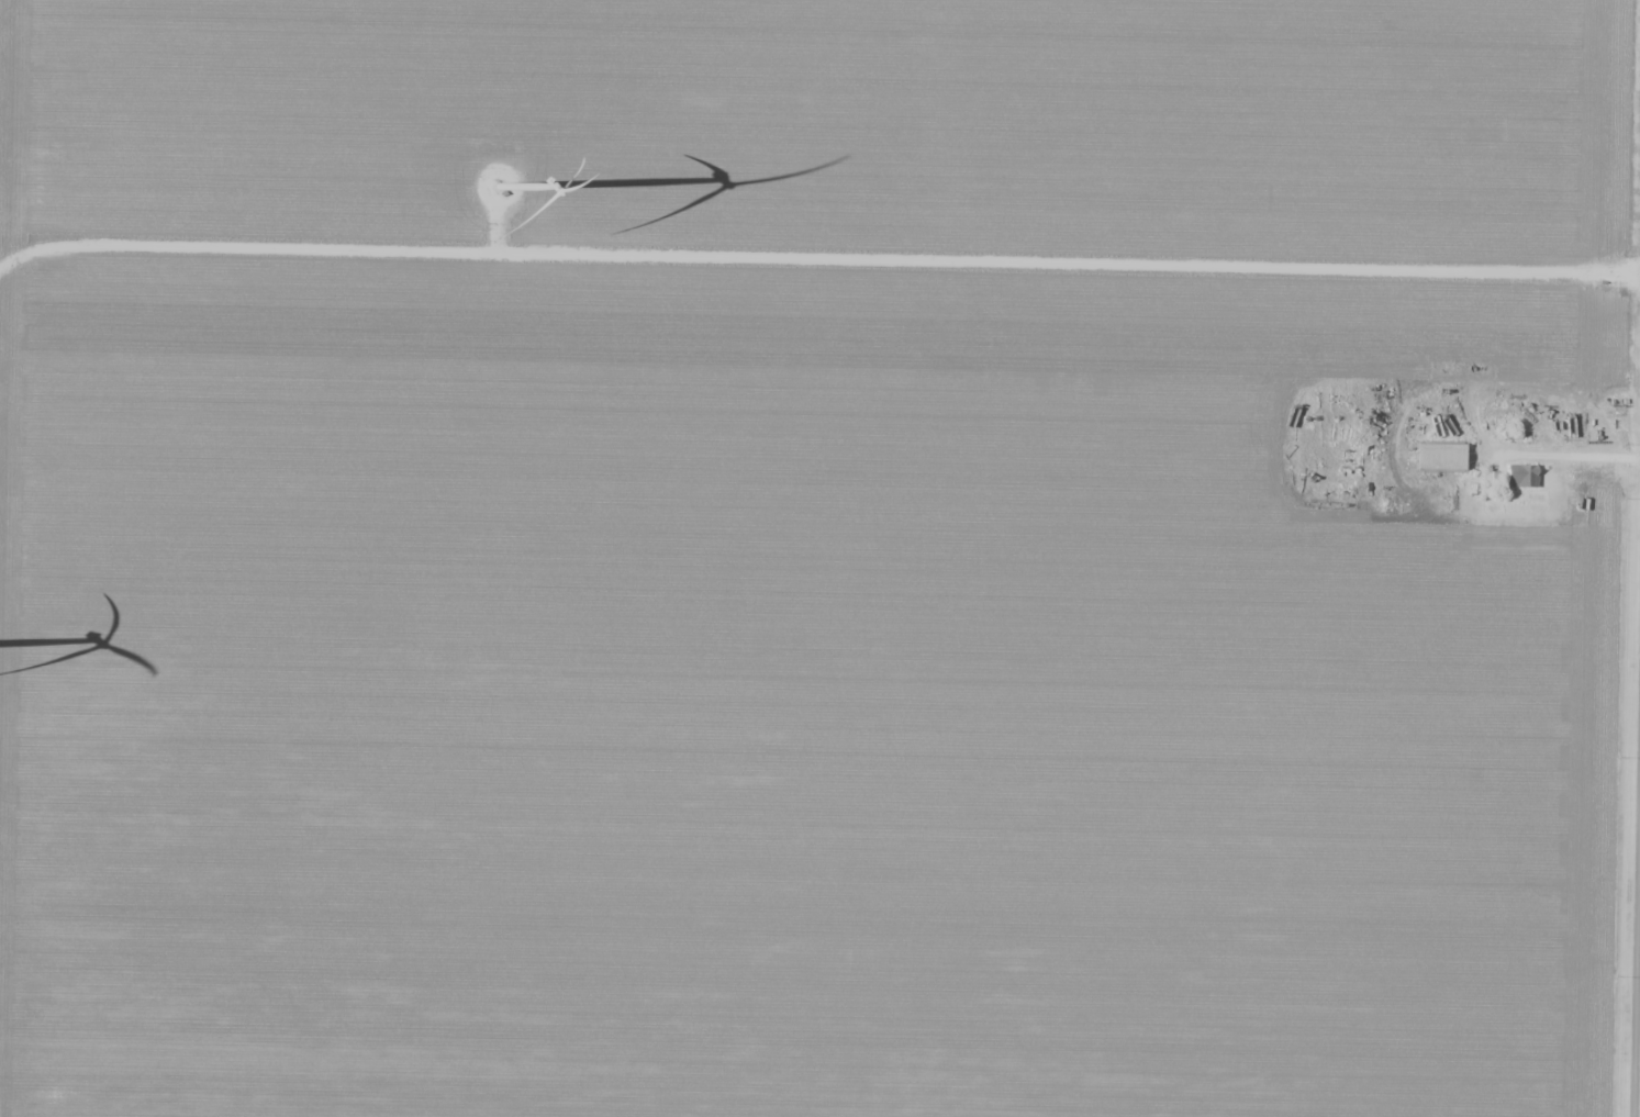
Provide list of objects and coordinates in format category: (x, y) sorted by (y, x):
wind turbine: (480, 177)
building: (1433, 456)
building: (1518, 476)
road: (1633, 781)

